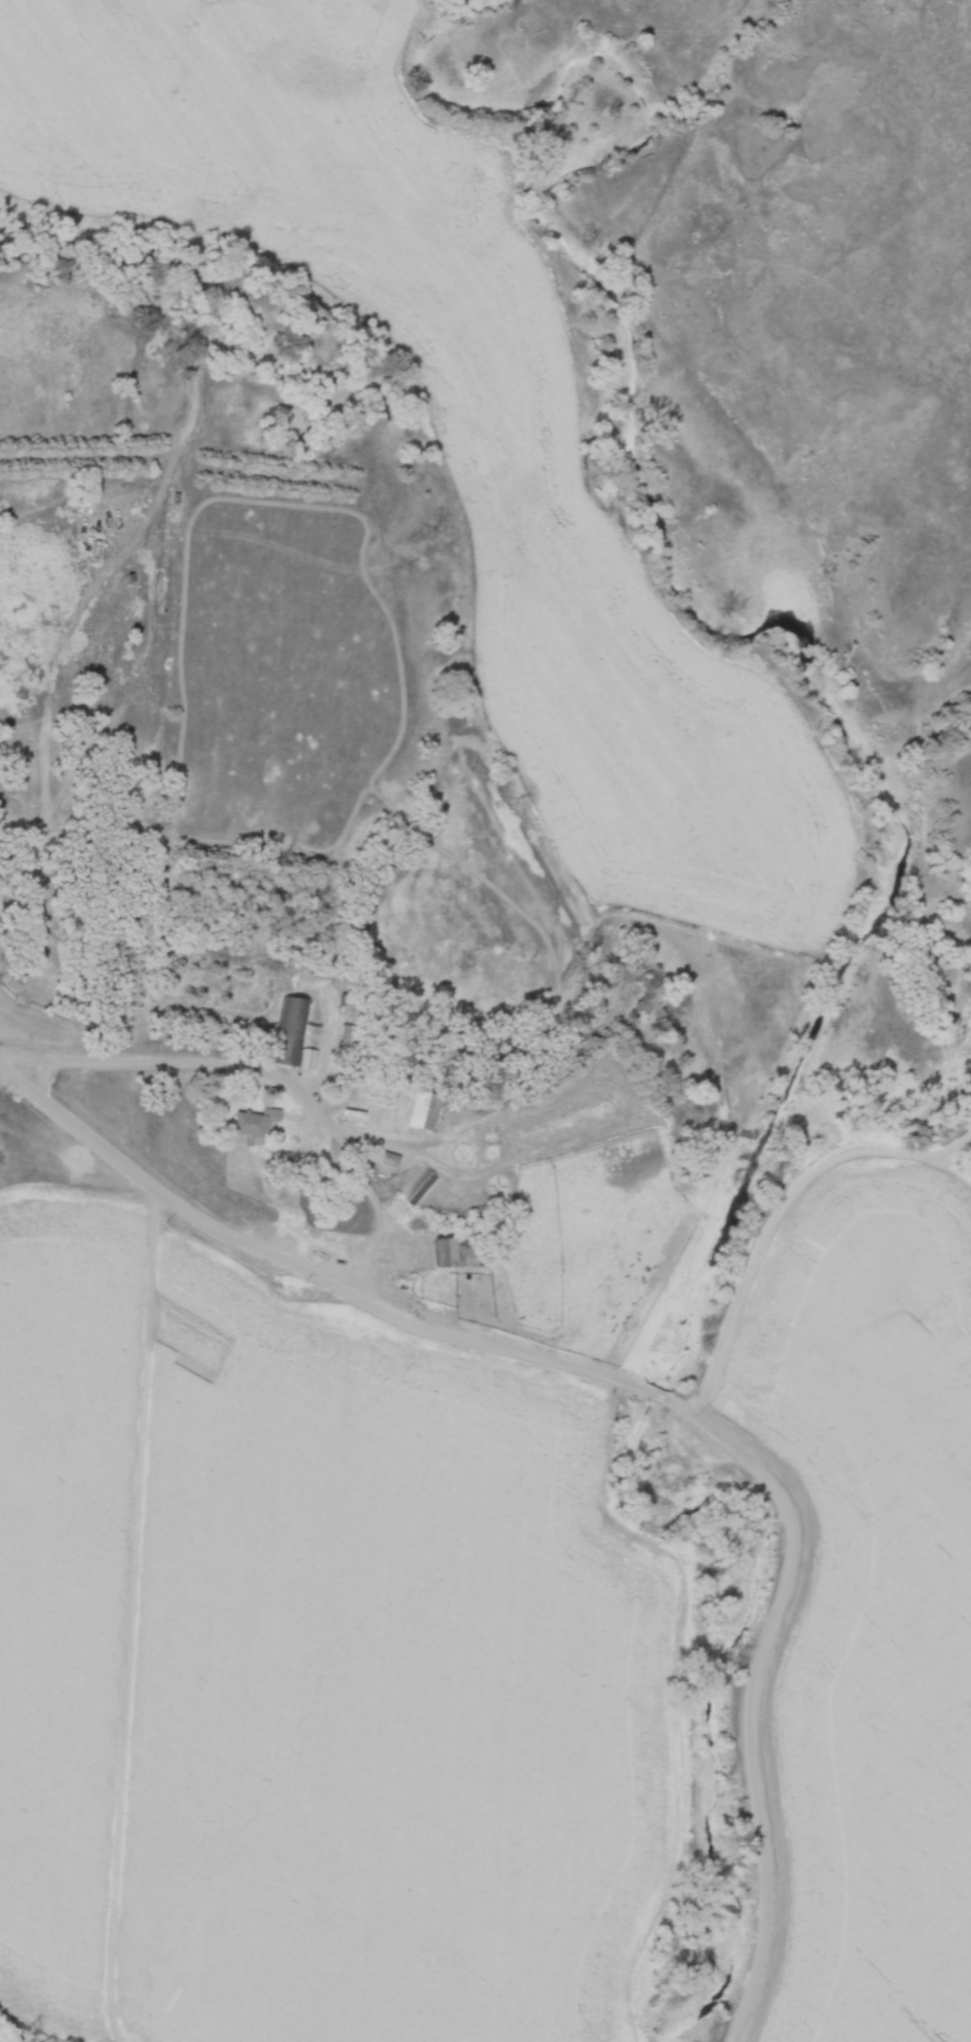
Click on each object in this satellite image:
building: (300, 1036)
building: (306, 1060)
road: (171, 1061)
building: (433, 1113)
building: (252, 1127)
building: (463, 1154)
building: (390, 1160)
building: (497, 1186)
building: (418, 1187)
building: (453, 1251)
road: (306, 1269)
road: (661, 1395)
crop: (314, 1668)
road: (750, 1693)
railway: (2, 2040)

